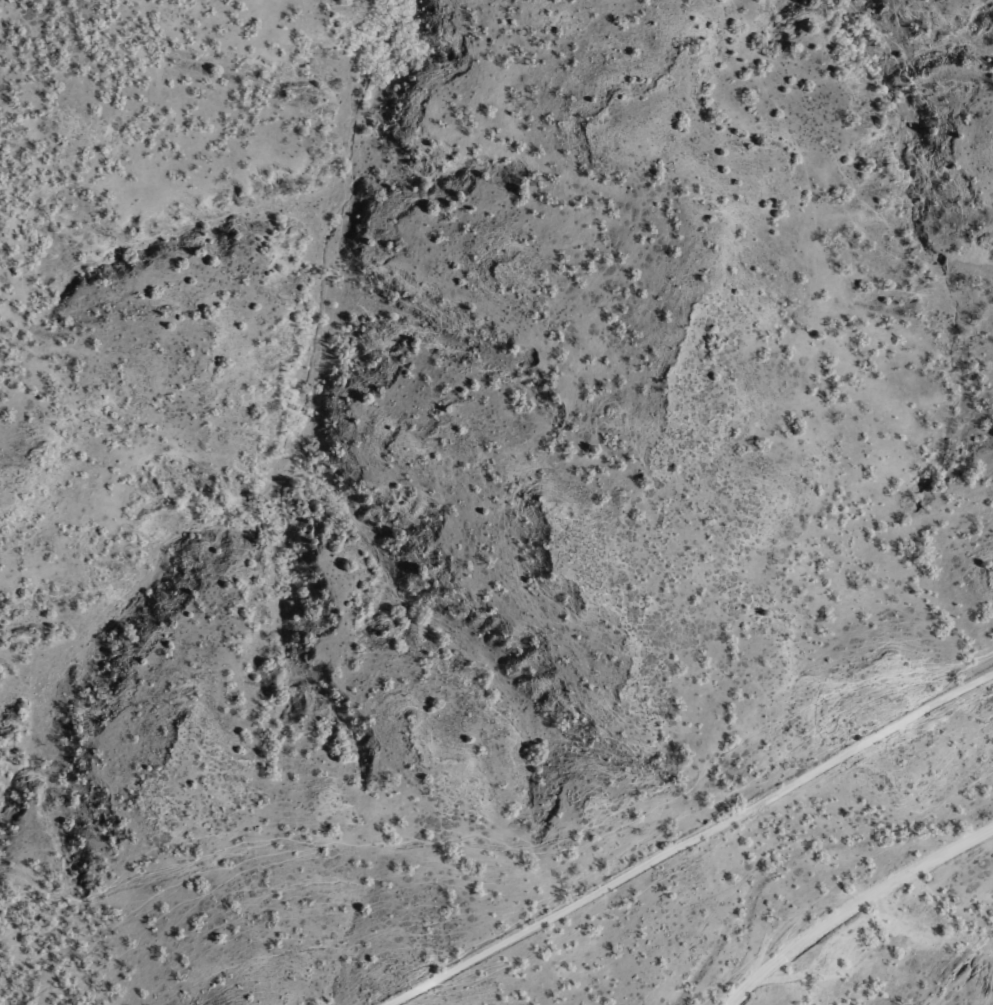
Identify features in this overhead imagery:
road: (693, 839)
road: (951, 849)
road: (812, 931)

